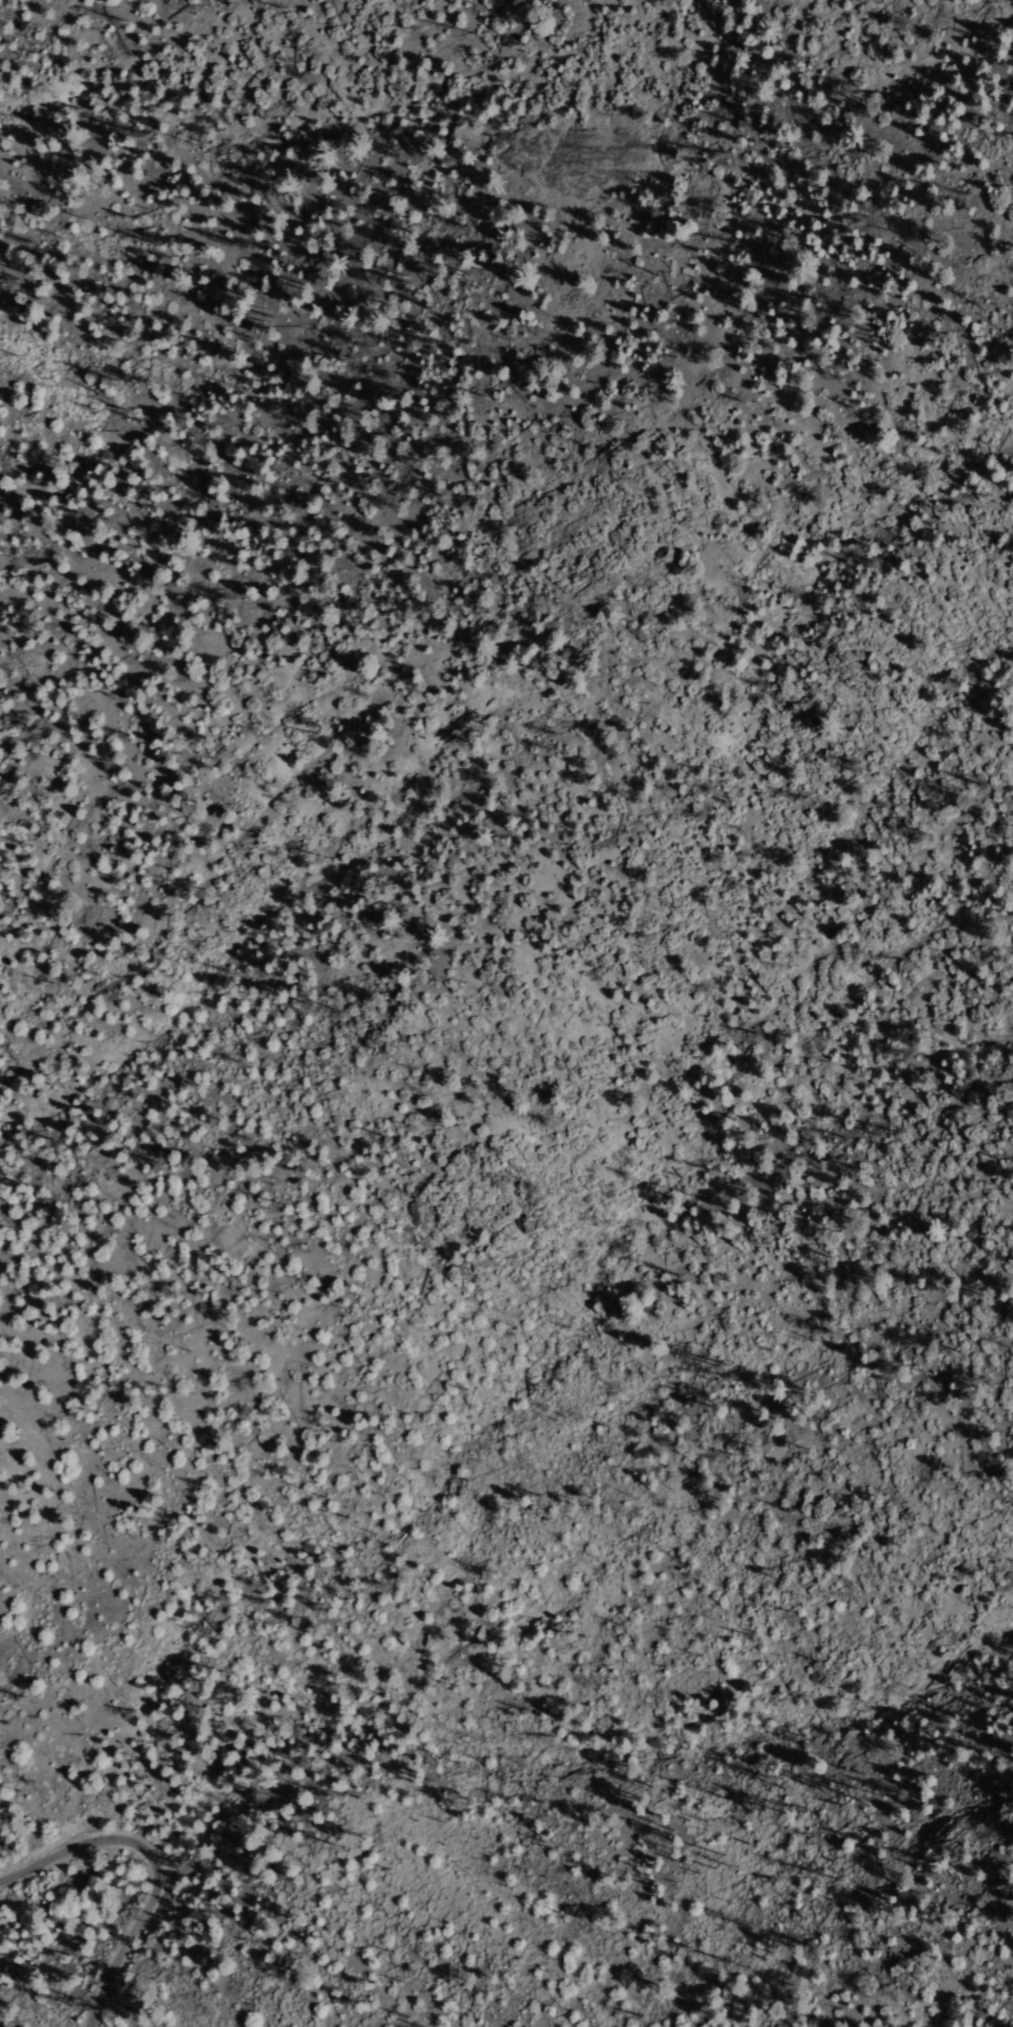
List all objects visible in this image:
road: (158, 1864)

